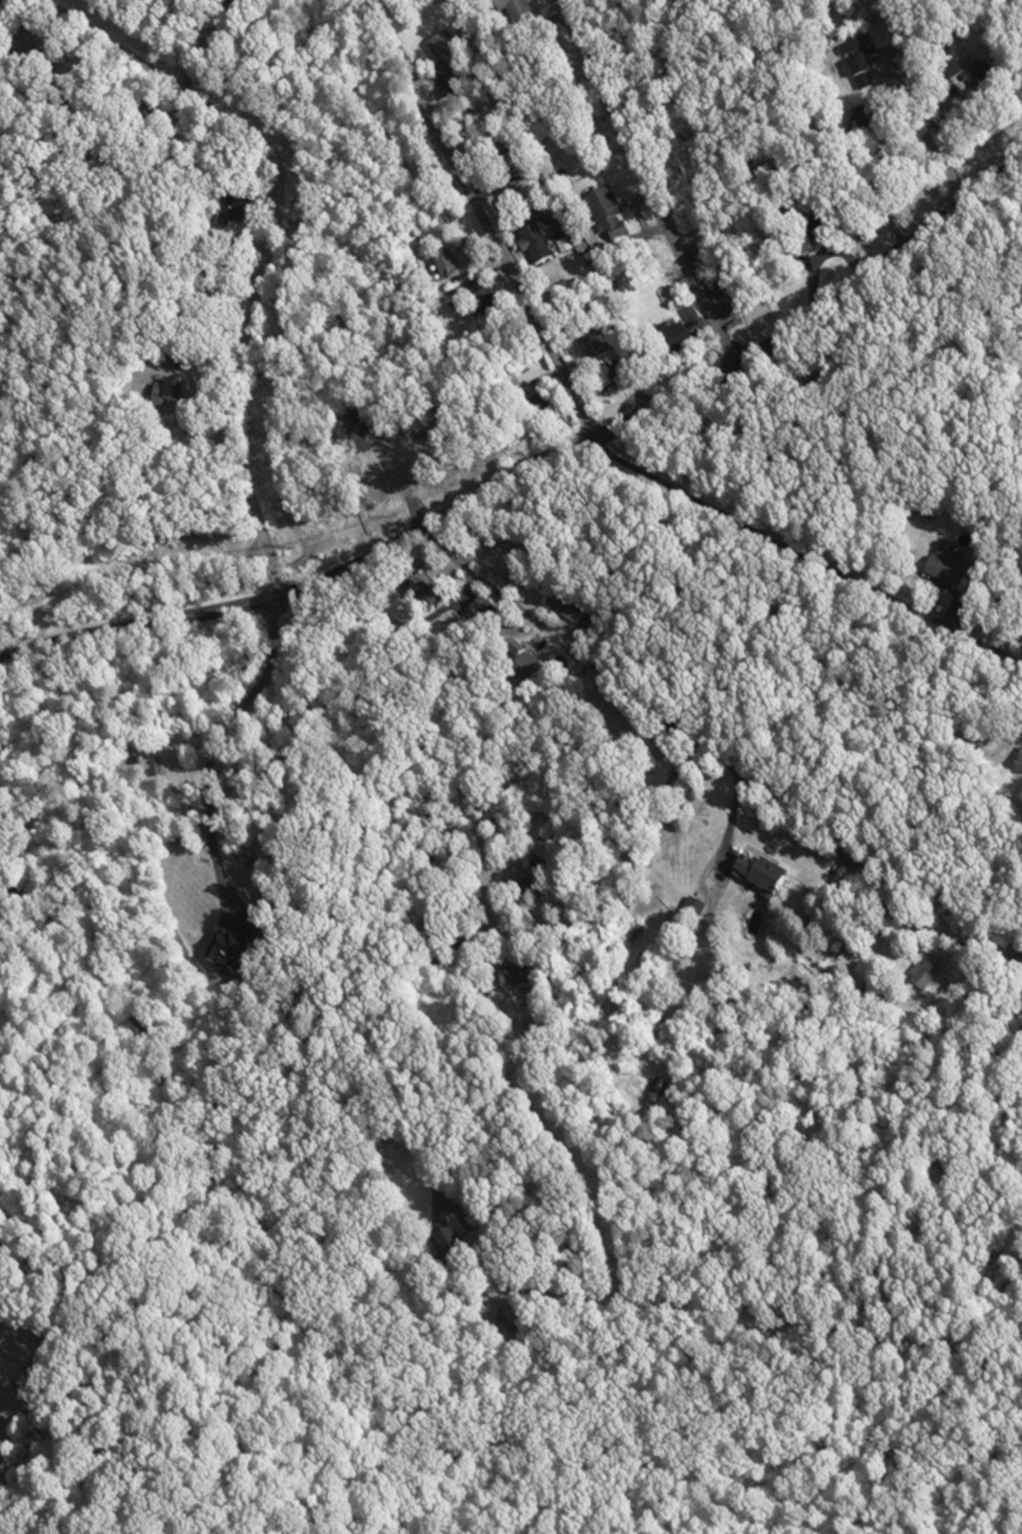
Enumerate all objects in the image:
building: (514, 10)
building: (446, 52)
building: (860, 52)
building: (453, 83)
road: (923, 100)
road: (644, 184)
road: (479, 213)
building: (604, 213)
road: (268, 241)
building: (534, 246)
road: (237, 253)
building: (444, 264)
building: (486, 307)
building: (673, 341)
road: (917, 355)
building: (615, 375)
building: (170, 394)
building: (539, 410)
road: (886, 422)
road: (538, 468)
road: (804, 555)
building: (948, 570)
building: (417, 595)
road: (442, 609)
building: (564, 609)
building: (522, 660)
road: (675, 725)
road: (213, 749)
road: (457, 751)
road: (798, 815)
building: (760, 874)
road: (942, 917)
building: (236, 942)
road: (299, 957)
building: (926, 970)
building: (513, 983)
building: (657, 1085)
building: (445, 1250)

